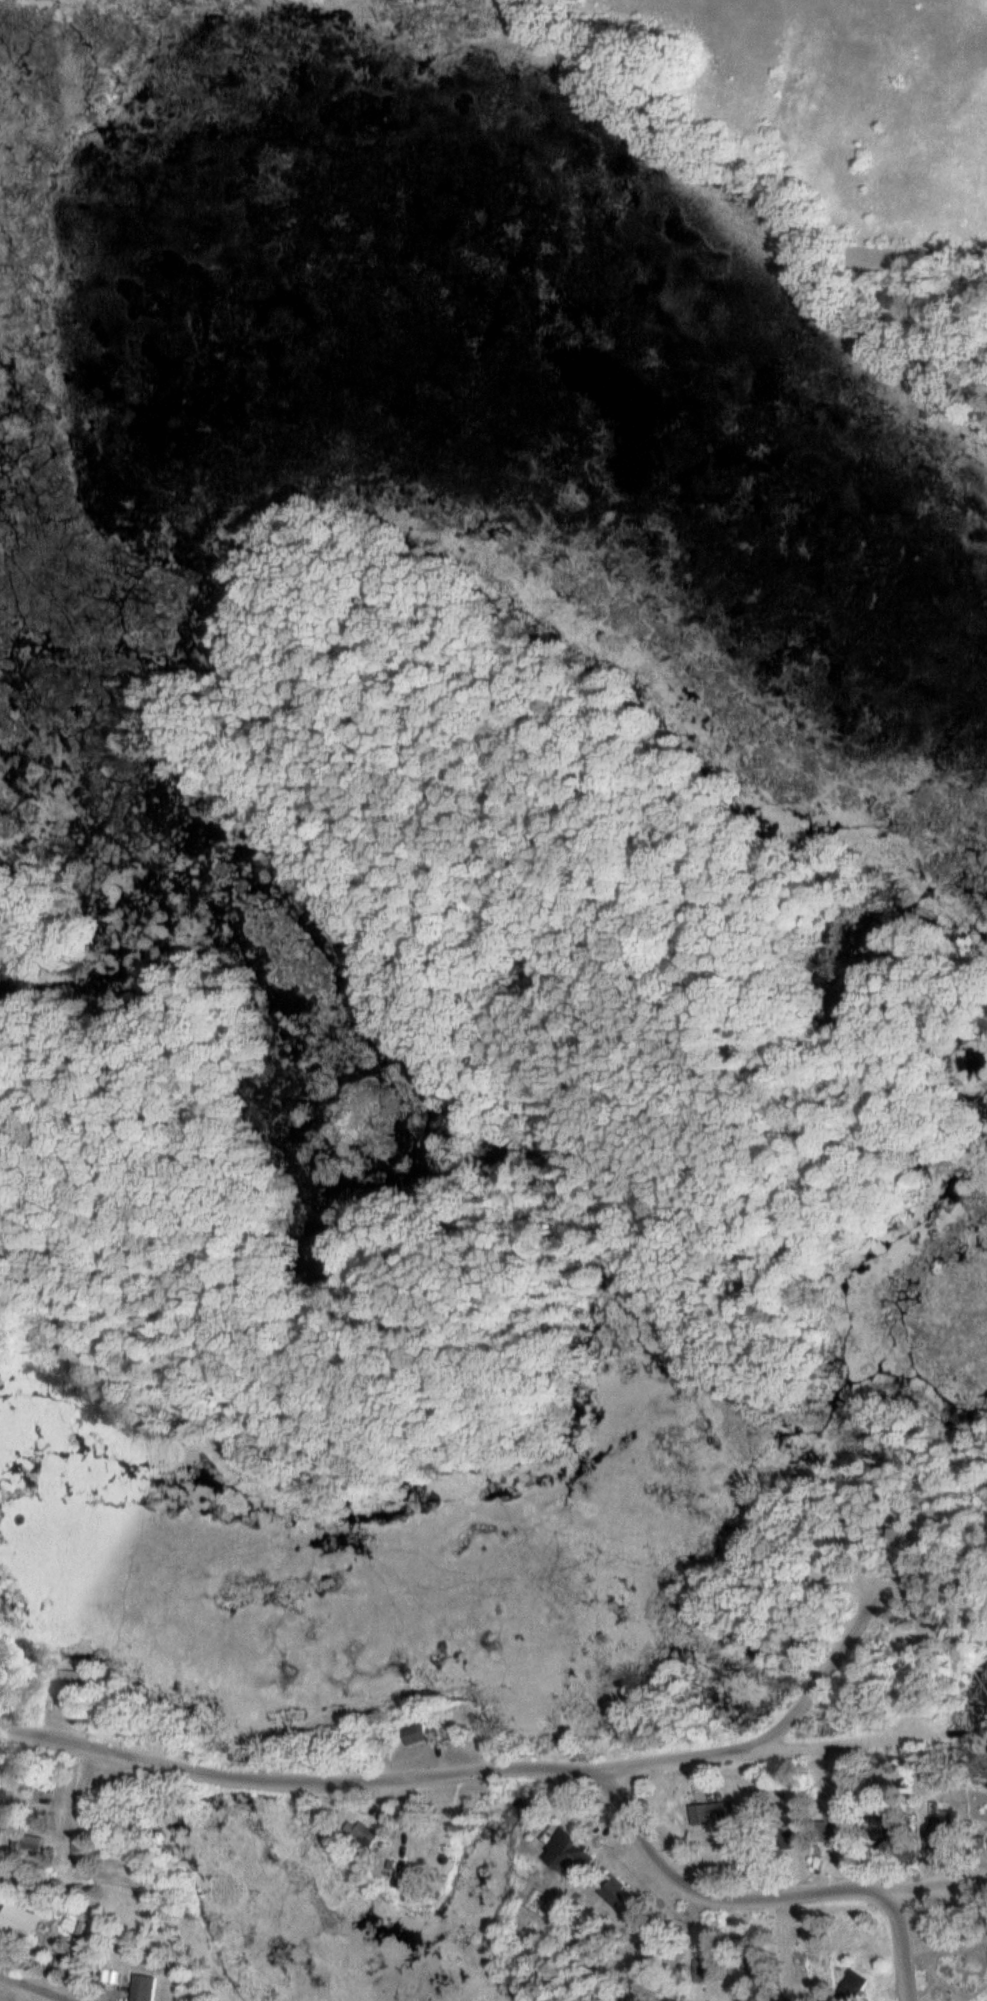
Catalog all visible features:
building: (888, 1534)
road: (827, 1672)
building: (69, 1678)
building: (412, 1733)
road: (736, 1748)
road: (512, 1768)
building: (0, 1799)
building: (710, 1812)
building: (821, 1831)
building: (359, 1833)
building: (24, 1843)
building: (78, 1851)
building: (560, 1853)
building: (610, 1892)
building: (17, 1921)
road: (899, 1945)
building: (649, 1947)
building: (696, 1969)
building: (984, 1980)
building: (848, 1985)
building: (140, 1987)

